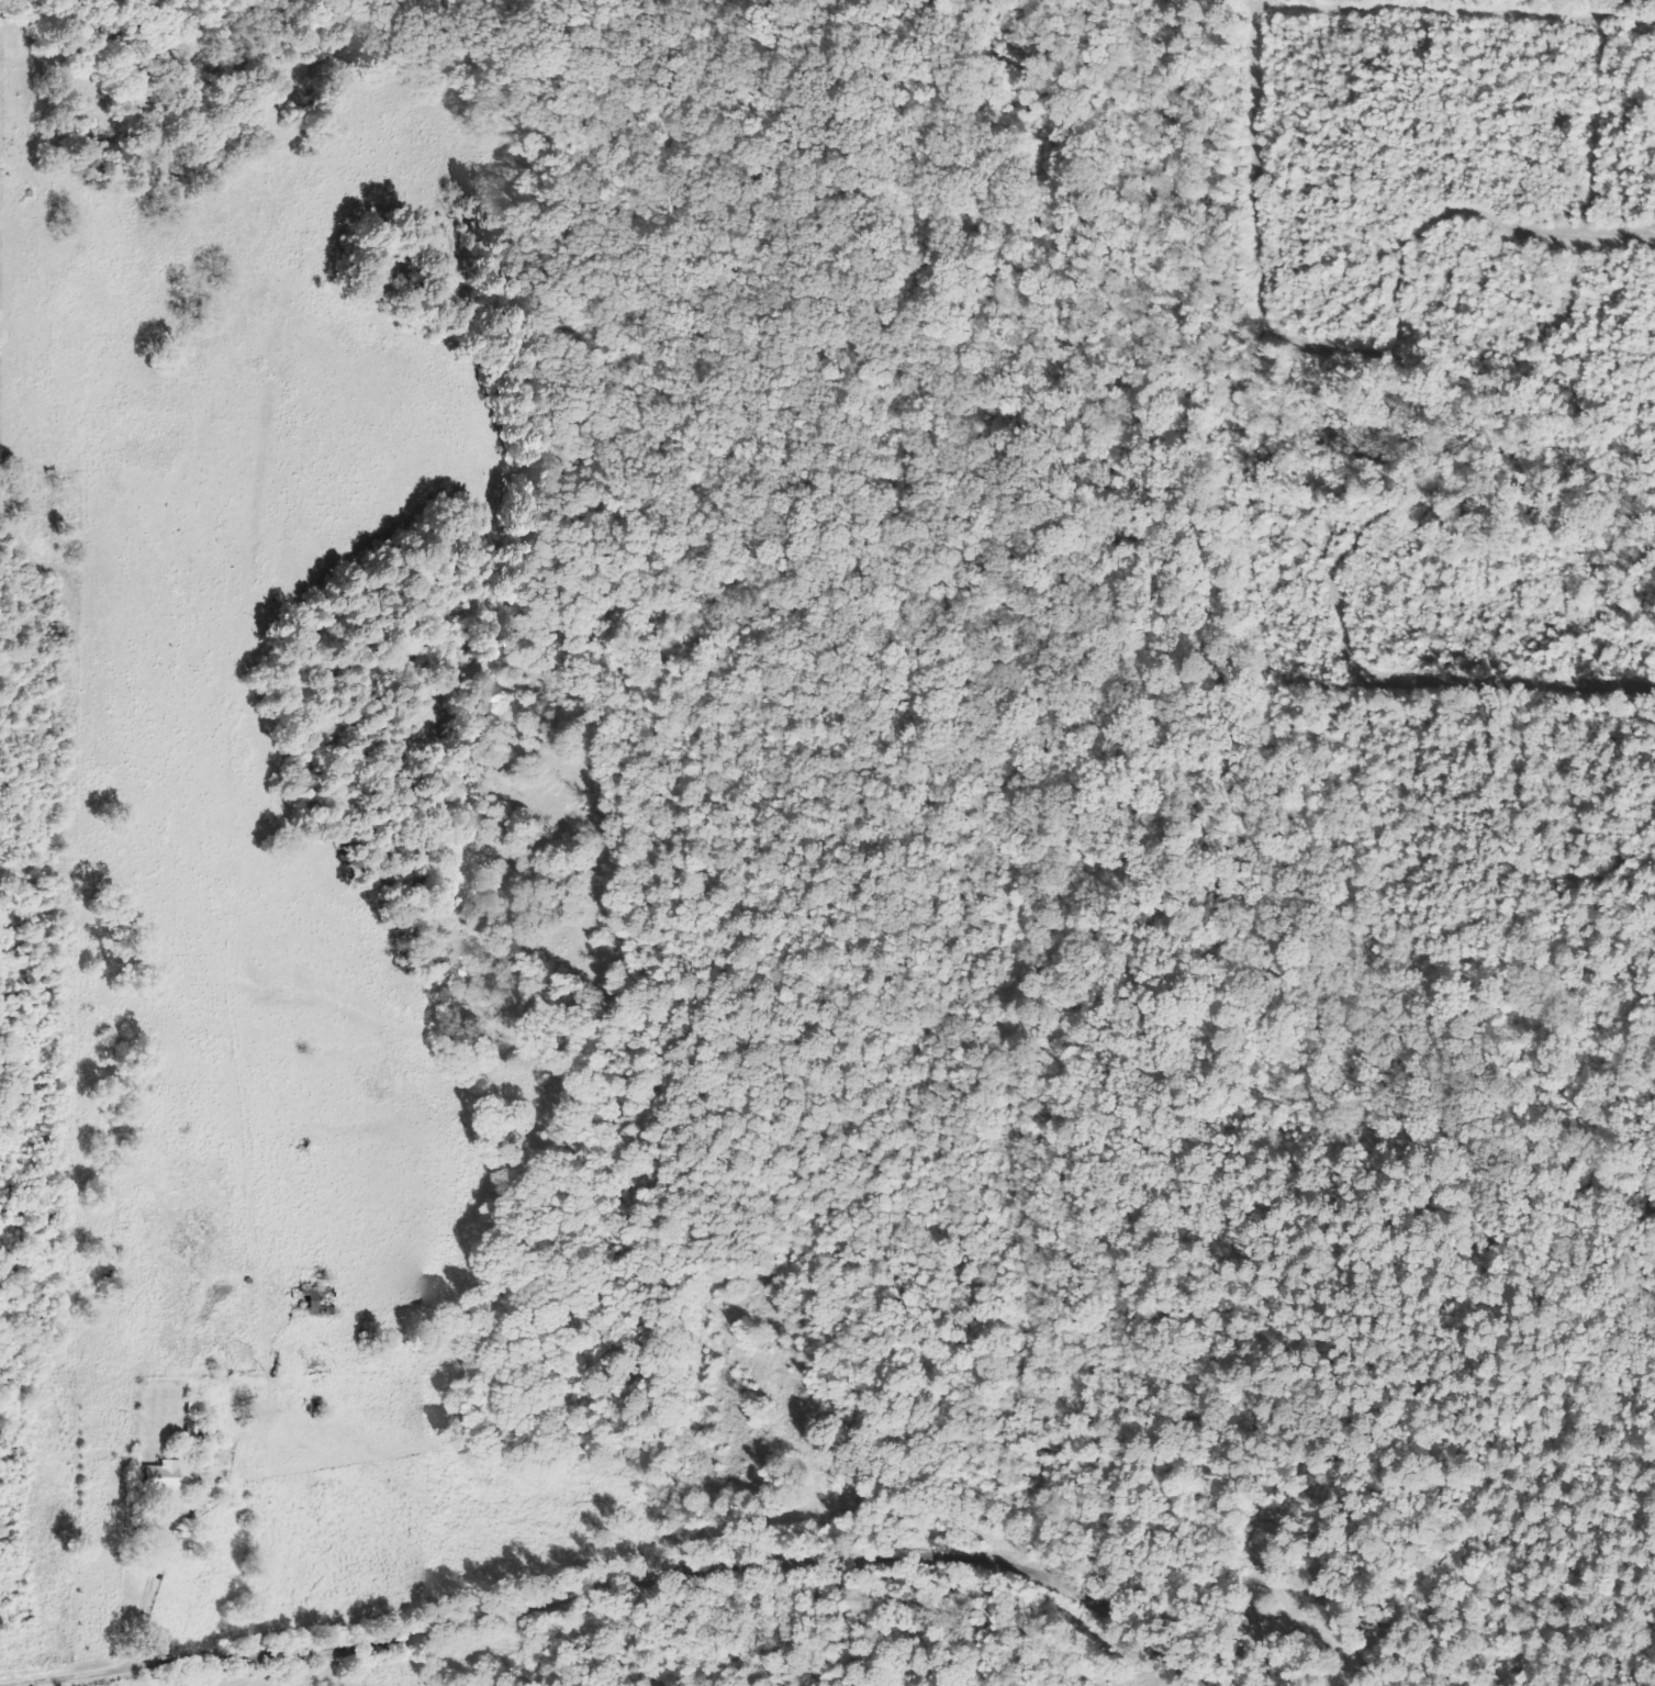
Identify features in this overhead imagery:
building: (168, 1476)
building: (1265, 1547)
road: (616, 1586)

